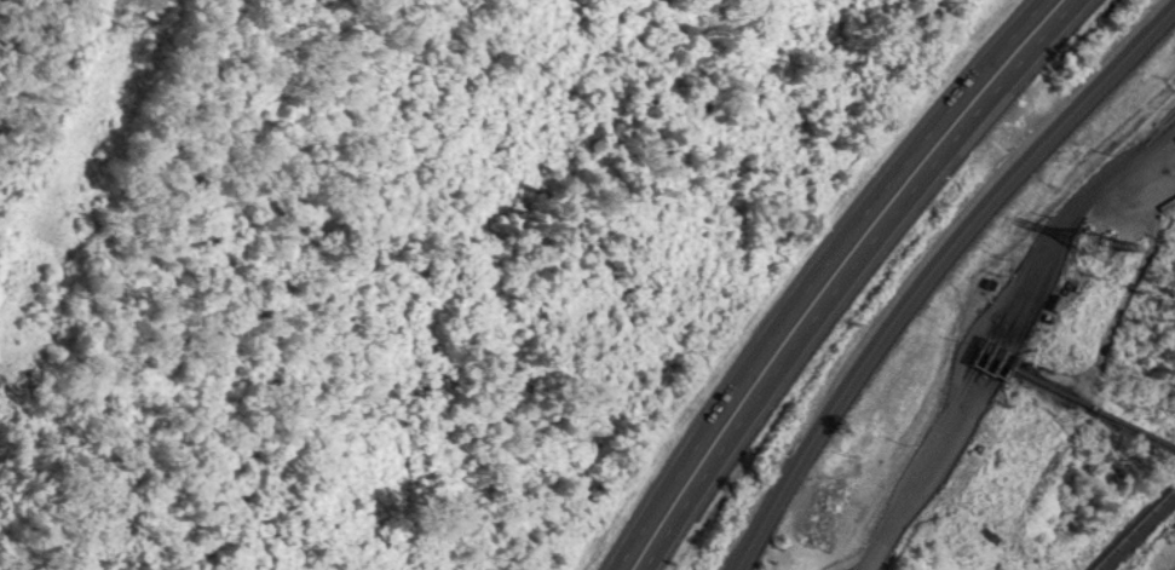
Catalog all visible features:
power tower: (139, 10)
power tower: (1094, 243)
road: (927, 266)
road: (814, 275)
road: (846, 277)
road: (995, 328)
power plant: (1031, 387)
railway: (1123, 524)

